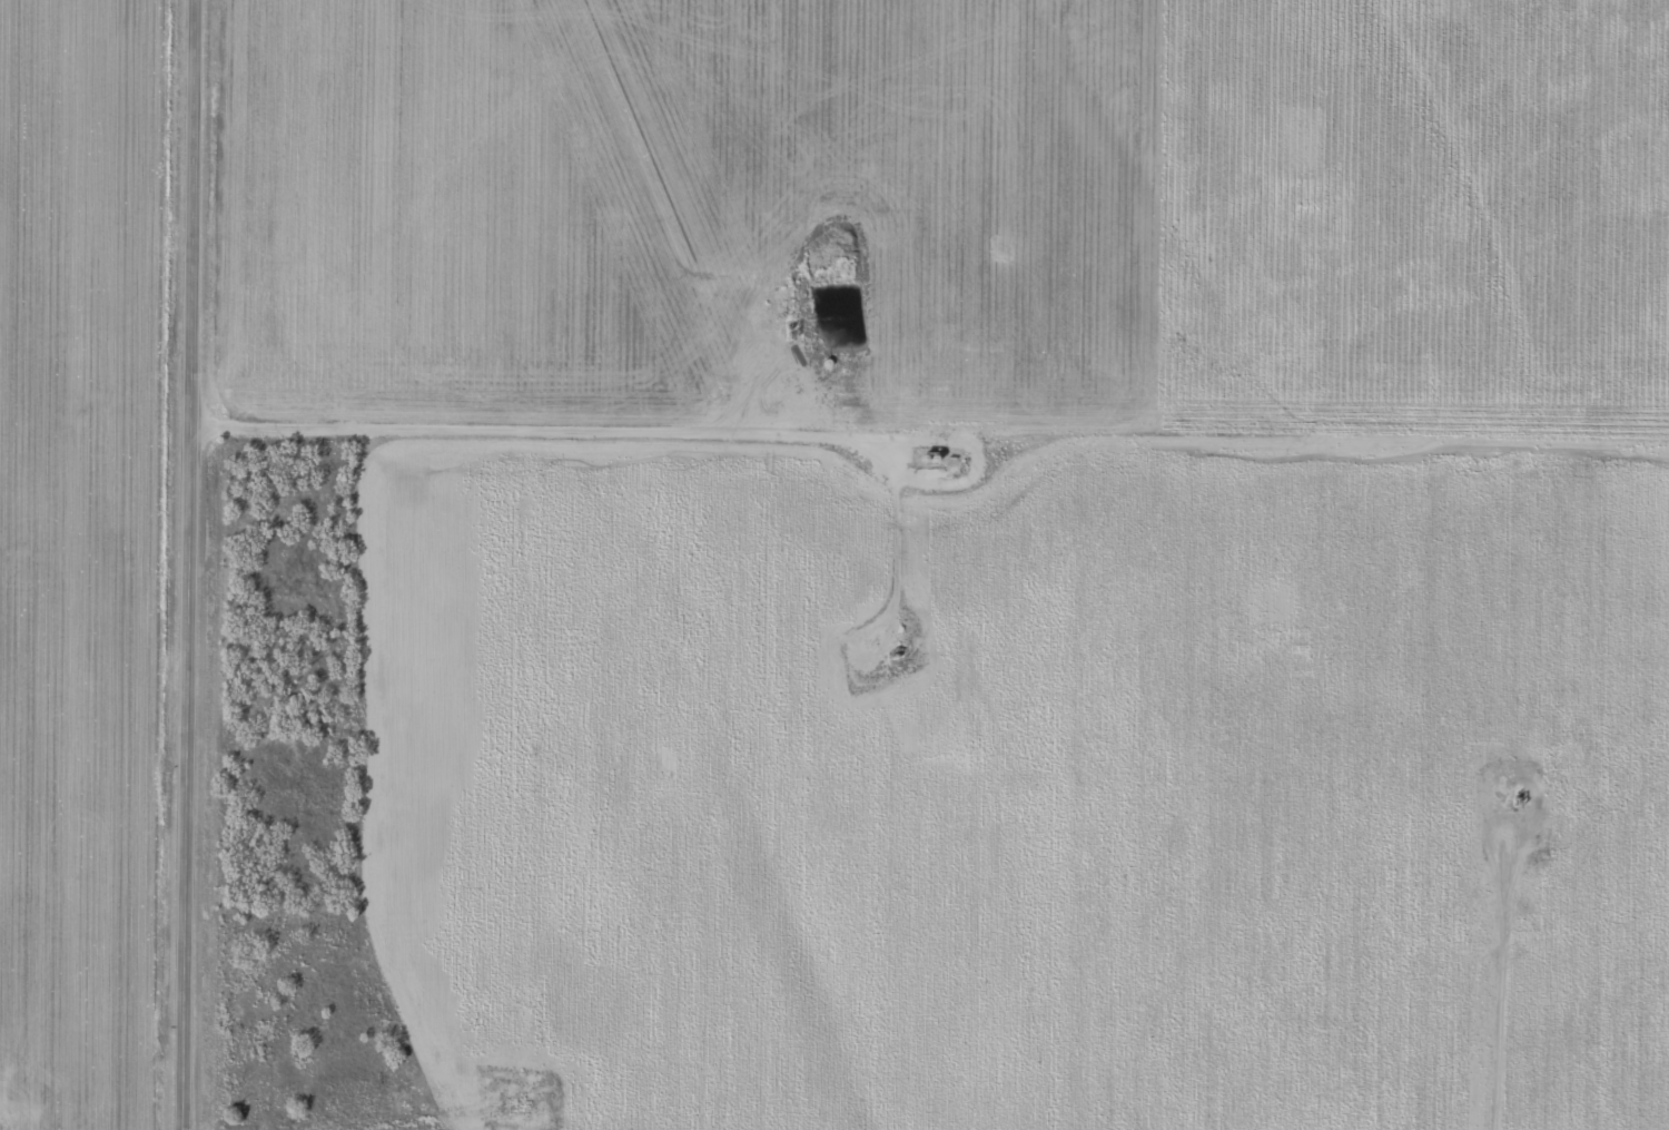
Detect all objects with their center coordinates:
road: (817, 431)
road: (191, 564)
road: (369, 595)

